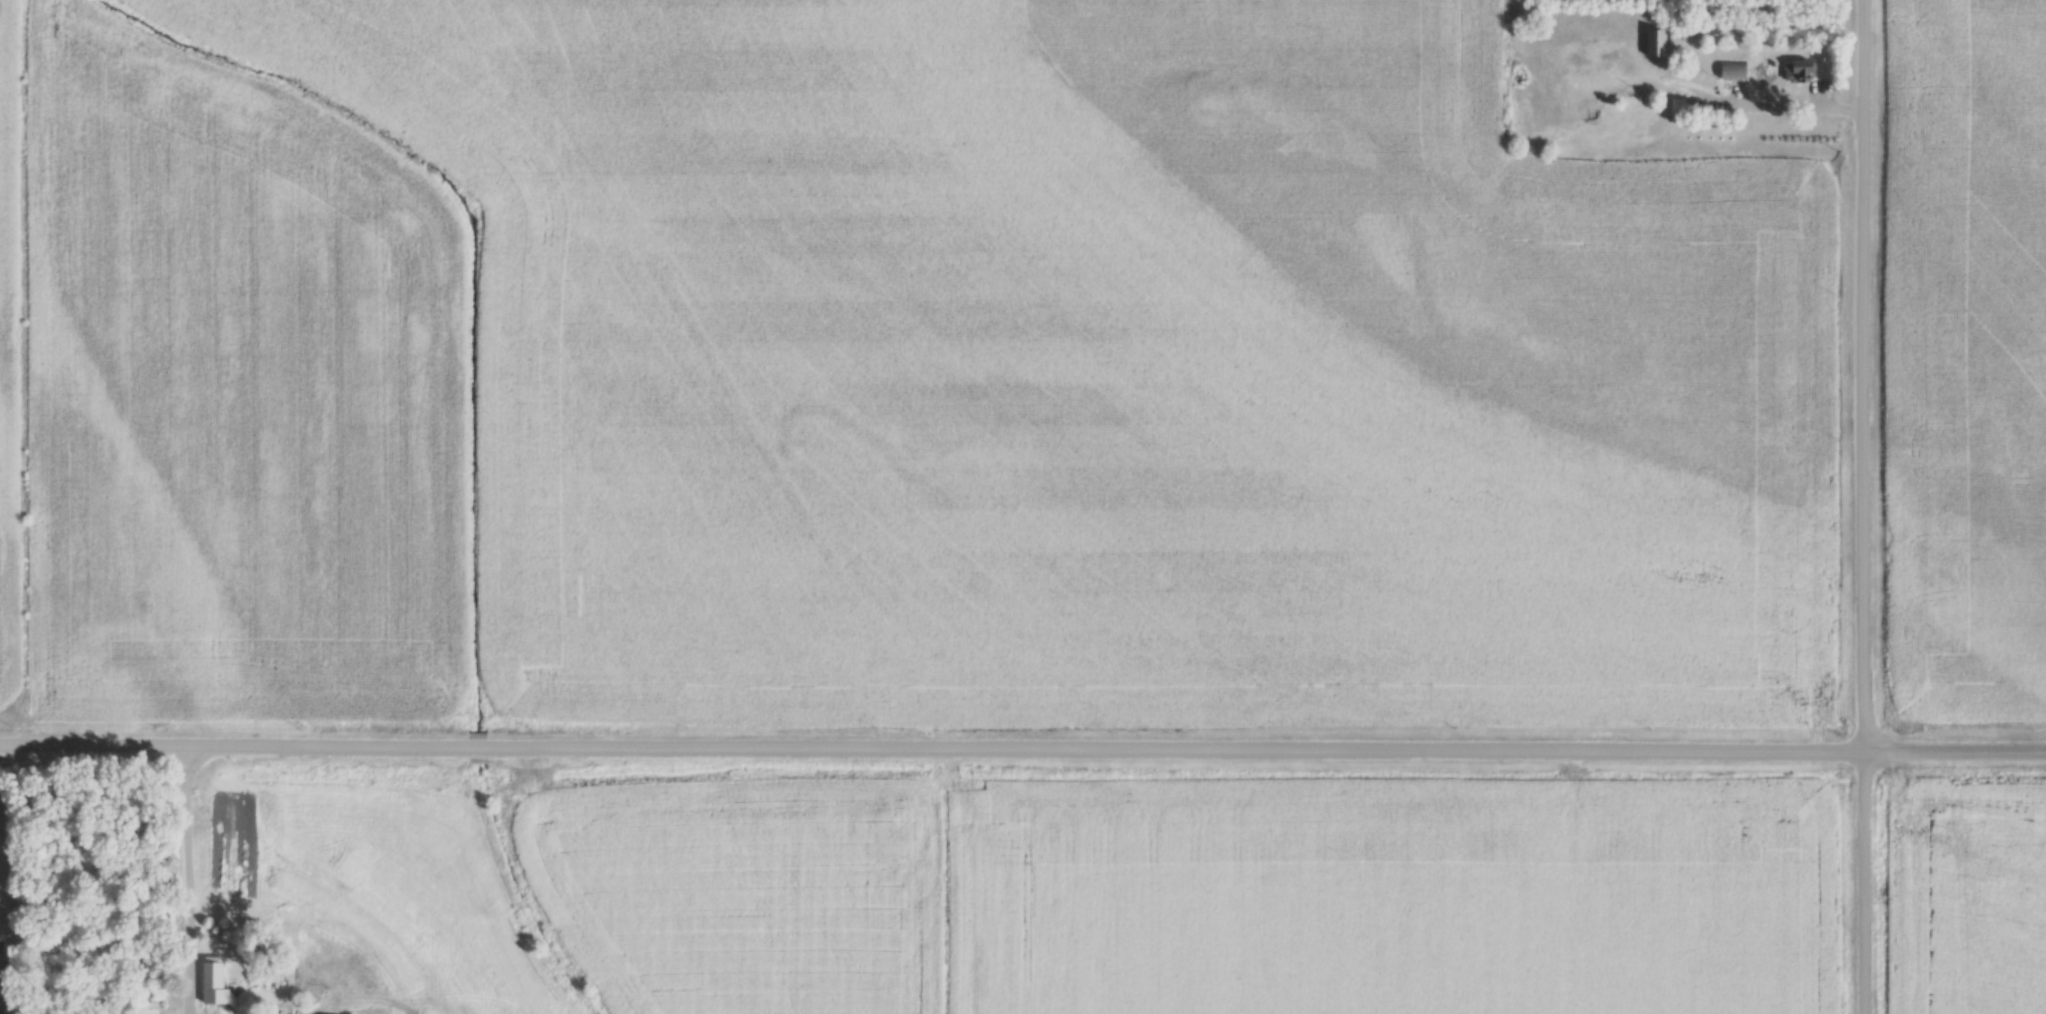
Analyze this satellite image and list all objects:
building: (1656, 42)
building: (1591, 59)
building: (1733, 69)
building: (1800, 70)
road: (1788, 106)
crop: (1966, 361)
road: (1865, 506)
road: (933, 747)
road: (1956, 749)
road: (6, 756)
road: (183, 880)
crop: (1966, 892)
road: (4, 910)
road: (360, 984)
building: (222, 987)
building: (148, 1007)

